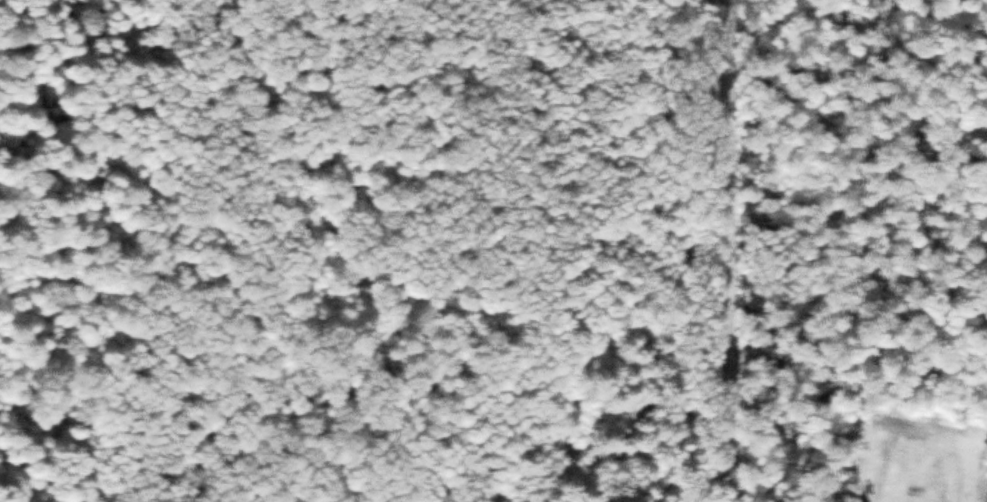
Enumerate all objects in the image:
road: (702, 247)

